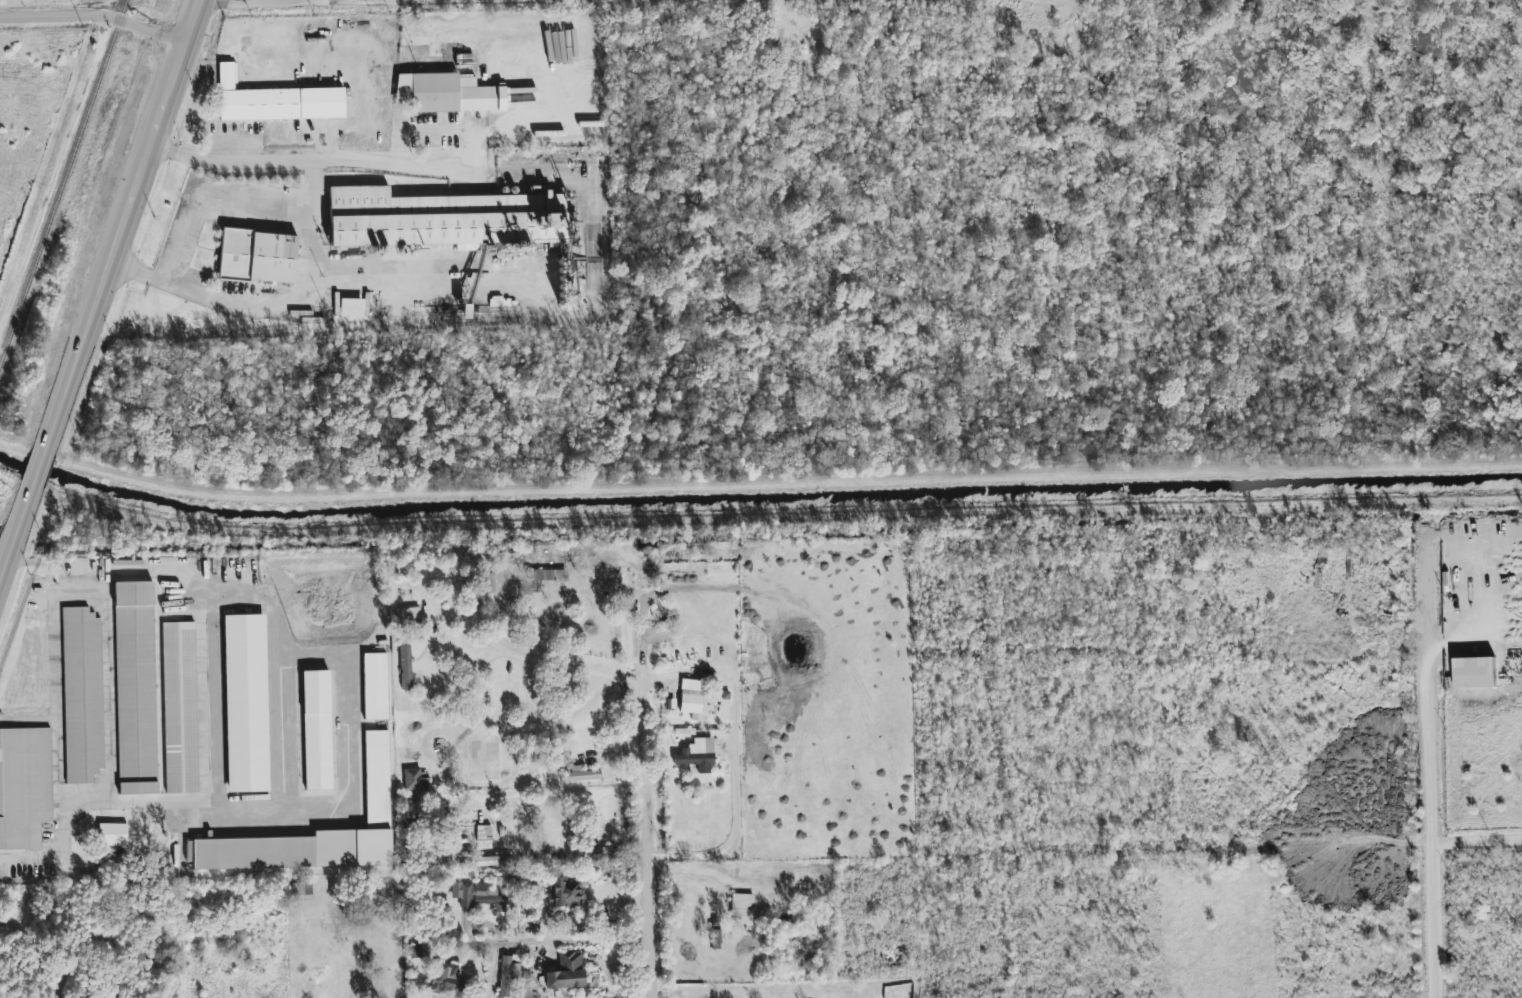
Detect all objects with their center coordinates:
road: (93, 15)
building: (447, 93)
building: (275, 101)
road: (157, 130)
road: (323, 157)
road: (57, 173)
railway: (63, 181)
road: (212, 198)
building: (441, 219)
building: (258, 257)
road: (139, 271)
road: (301, 293)
building: (352, 307)
road: (80, 359)
road: (36, 469)
road: (15, 531)
road: (760, 541)
building: (546, 575)
building: (489, 583)
building: (408, 615)
road: (516, 653)
building: (406, 667)
building: (375, 686)
building: (136, 688)
building: (82, 695)
building: (691, 698)
building: (246, 703)
building: (180, 708)
building: (317, 730)
road: (1426, 747)
building: (697, 755)
road: (735, 757)
building: (580, 775)
building: (416, 780)
building: (24, 787)
road: (213, 789)
road: (543, 793)
building: (318, 832)
building: (484, 833)
building: (113, 834)
road: (643, 840)
building: (489, 861)
road: (1430, 879)
building: (302, 888)
building: (564, 893)
building: (479, 897)
building: (742, 908)
building: (716, 938)
road: (548, 941)
building: (413, 952)
building: (508, 972)
building: (567, 972)
building: (448, 979)

